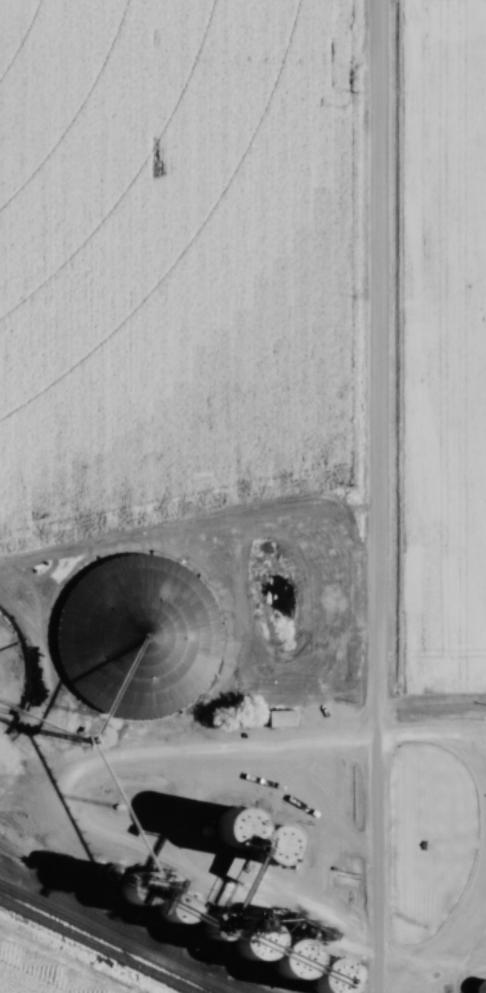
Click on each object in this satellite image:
road: (371, 496)
building: (109, 629)
railway: (148, 921)
railway: (112, 938)
railway: (96, 946)

